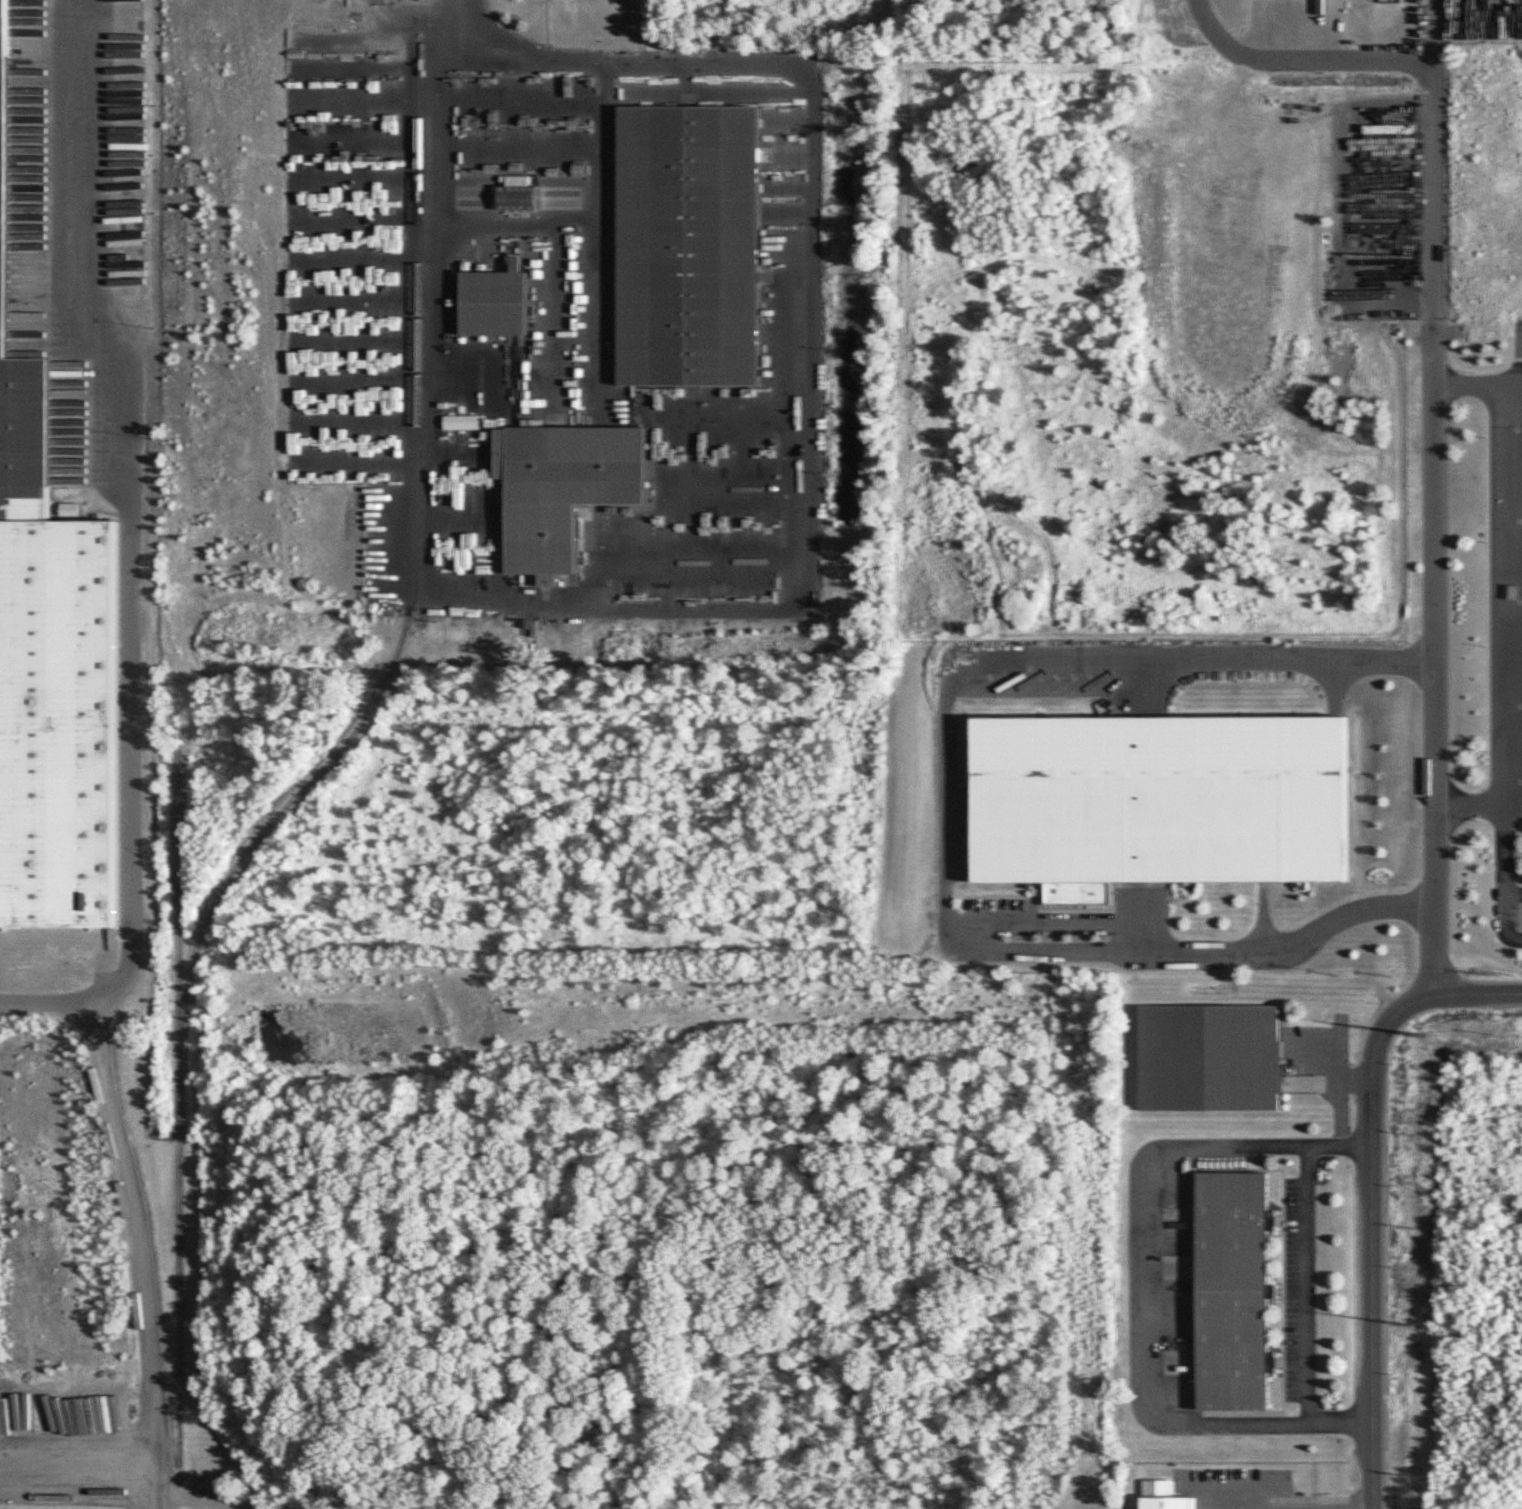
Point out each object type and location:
road: (1300, 62)
road: (610, 64)
road: (1437, 160)
building: (518, 194)
building: (684, 224)
building: (496, 277)
road: (1471, 367)
building: (461, 422)
building: (557, 471)
road: (123, 477)
building: (39, 549)
railway: (415, 587)
road: (1510, 604)
road: (1438, 656)
road: (1338, 660)
building: (1153, 770)
road: (944, 791)
road: (1506, 834)
road: (1136, 899)
road: (1260, 899)
road: (1506, 904)
road: (64, 972)
road: (1454, 992)
building: (1210, 1058)
road: (1333, 1065)
road: (1339, 1110)
railway: (180, 1115)
road: (1377, 1261)
railway: (154, 1262)
road: (1144, 1285)
road: (1307, 1285)
building: (1234, 1291)
road: (123, 1477)
road: (153, 1494)
building: (1163, 1496)
building: (76, 1507)

